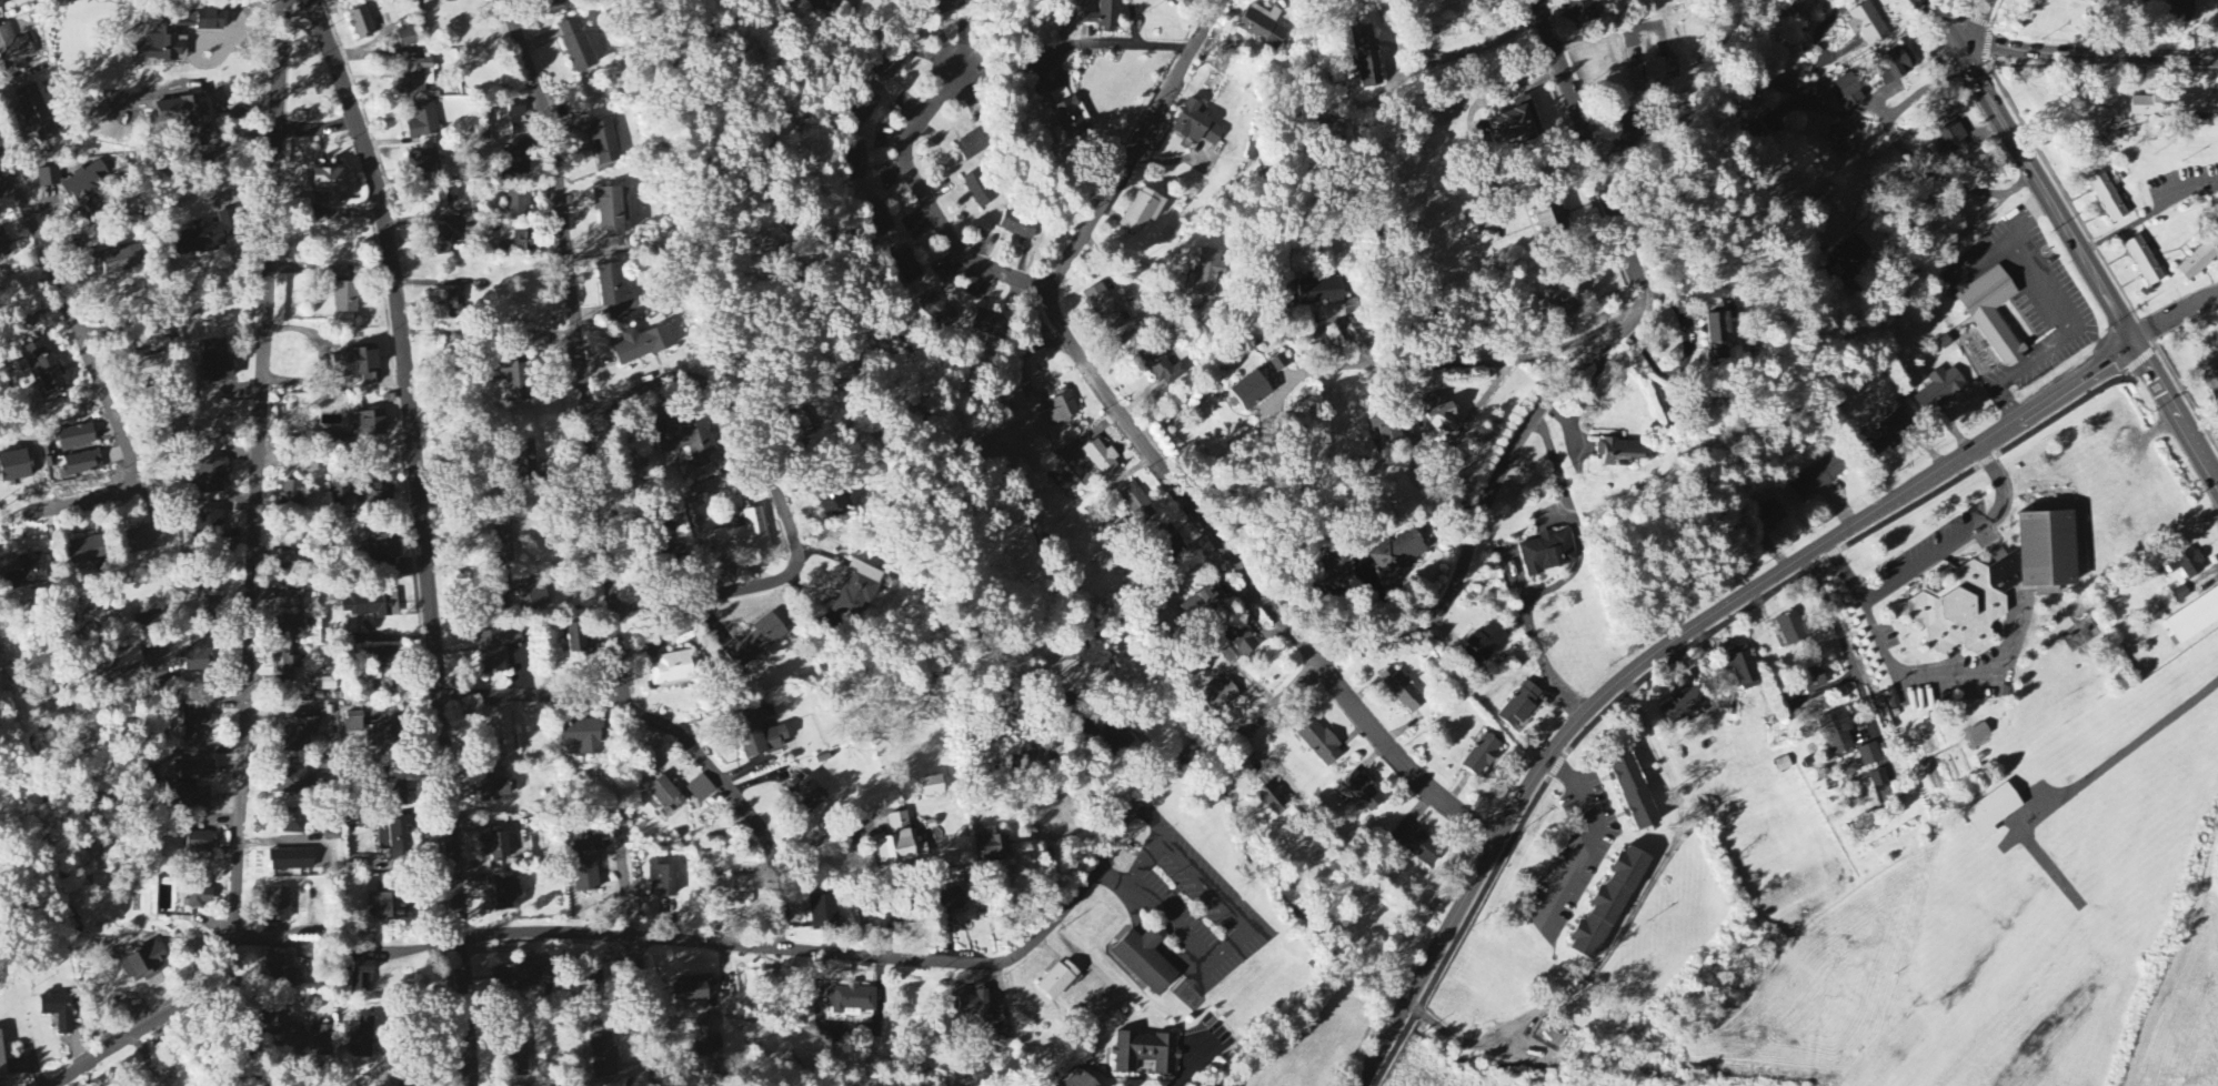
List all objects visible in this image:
building: (1185, 0)
building: (833, 3)
building: (947, 6)
building: (2182, 9)
building: (1578, 12)
building: (1105, 17)
building: (210, 20)
building: (185, 21)
road: (1975, 22)
building: (361, 23)
building: (1262, 27)
building: (1867, 27)
building: (407, 38)
road: (1112, 44)
building: (575, 46)
traffic signals: (1963, 46)
building: (163, 47)
road: (1471, 51)
building: (13, 52)
road: (2089, 53)
building: (1366, 57)
building: (887, 66)
building: (1895, 66)
building: (1655, 70)
building: (415, 76)
building: (1849, 92)
building: (864, 105)
building: (2152, 107)
building: (2199, 107)
road: (1826, 112)
building: (36, 113)
building: (1068, 113)
building: (422, 121)
building: (1516, 123)
building: (2099, 123)
building: (1196, 127)
building: (1624, 133)
road: (1895, 133)
building: (1061, 139)
building: (1949, 141)
building: (604, 142)
building: (975, 145)
road: (1135, 145)
road: (1596, 153)
building: (516, 161)
building: (853, 161)
building: (424, 163)
building: (77, 185)
building: (327, 185)
building: (980, 190)
road: (2184, 190)
building: (2108, 199)
building: (518, 204)
road: (930, 208)
building: (1143, 211)
building: (610, 212)
building: (1550, 220)
building: (879, 222)
road: (1973, 223)
building: (1018, 227)
road: (2118, 232)
building: (208, 235)
building: (440, 241)
road: (2070, 241)
building: (522, 242)
building: (3, 247)
building: (1851, 255)
building: (117, 261)
building: (2199, 261)
building: (2145, 262)
building: (904, 265)
building: (1208, 273)
building: (2, 278)
building: (1321, 292)
building: (614, 293)
building: (345, 299)
building: (1562, 303)
building: (445, 306)
building: (1352, 309)
building: (1104, 310)
building: (937, 312)
building: (1994, 315)
road: (2056, 315)
road: (174, 316)
road: (2176, 320)
building: (1720, 323)
building: (990, 325)
building: (642, 345)
road: (576, 346)
building: (2217, 346)
building: (1717, 358)
building: (218, 362)
road: (1483, 362)
building: (1279, 364)
building: (153, 365)
building: (359, 365)
building: (1162, 365)
building: (44, 373)
building: (2210, 379)
road: (97, 382)
building: (515, 382)
building: (1940, 391)
road: (2182, 391)
building: (1251, 392)
building: (1060, 412)
building: (1438, 420)
building: (796, 421)
building: (368, 425)
building: (1387, 430)
building: (1893, 431)
building: (76, 439)
building: (333, 442)
building: (685, 442)
road: (1444, 446)
building: (1619, 454)
building: (1101, 460)
building: (81, 465)
building: (308, 465)
building: (529, 466)
building: (14, 467)
building: (208, 477)
building: (1817, 479)
building: (340, 491)
road: (782, 491)
building: (291, 492)
building: (374, 494)
building: (835, 503)
building: (1135, 504)
road: (1493, 509)
building: (1766, 519)
road: (1574, 520)
building: (208, 525)
road: (424, 535)
road: (1963, 536)
building: (743, 537)
building: (147, 540)
building: (502, 542)
building: (384, 549)
building: (87, 551)
building: (1397, 553)
building: (1548, 553)
building: (291, 563)
building: (2187, 565)
building: (29, 572)
building: (191, 585)
building: (1998, 585)
road: (254, 587)
road: (1246, 591)
building: (855, 593)
building: (519, 595)
building: (2181, 595)
building: (1203, 604)
building: (370, 606)
building: (299, 609)
building: (2194, 620)
building: (1794, 630)
building: (575, 640)
building: (1486, 641)
road: (1675, 641)
building: (756, 643)
building: (1237, 645)
road: (1846, 646)
road: (1695, 647)
building: (495, 651)
road: (1540, 652)
building: (195, 656)
building: (129, 657)
building: (288, 661)
building: (379, 661)
building: (1742, 668)
building: (675, 670)
building: (1813, 680)
road: (1906, 680)
building: (1402, 691)
road: (529, 696)
building: (1218, 696)
building: (1685, 706)
building: (1519, 707)
building: (193, 721)
building: (353, 722)
building: (761, 733)
building: (1837, 733)
building: (501, 735)
building: (1979, 735)
building: (385, 736)
building: (300, 737)
building: (580, 737)
building: (1114, 742)
building: (1319, 744)
building: (1870, 756)
building: (1482, 757)
building: (194, 771)
building: (1850, 771)
building: (1879, 780)
building: (289, 782)
building: (493, 786)
building: (931, 786)
building: (701, 790)
building: (1634, 792)
building: (809, 793)
building: (1363, 793)
building: (664, 794)
building: (1888, 794)
building: (190, 800)
building: (1272, 800)
road: (739, 801)
building: (1994, 813)
road: (1153, 818)
building: (292, 823)
building: (395, 839)
road: (821, 839)
building: (199, 843)
building: (900, 843)
road: (1589, 843)
building: (1416, 845)
building: (496, 846)
building: (992, 846)
building: (291, 861)
airport taxiway: (2045, 863)
building: (584, 865)
building: (662, 879)
building: (727, 889)
road: (1124, 892)
building: (505, 894)
building: (199, 898)
building: (947, 901)
building: (388, 905)
building: (279, 906)
building: (1607, 908)
building: (824, 913)
building: (881, 914)
road: (1238, 925)
road: (1153, 939)
building: (1146, 958)
road: (1174, 958)
road: (951, 963)
building: (142, 965)
building: (281, 967)
building: (361, 969)
building: (515, 977)
building: (1058, 981)
road: (1203, 985)
airport runway: (1990, 989)
building: (694, 992)
building: (850, 1000)
building: (974, 1005)
building: (58, 1010)
road: (645, 1010)
building: (277, 1023)
building: (361, 1038)
building: (704, 1038)
building: (320, 1039)
building: (1145, 1053)
building: (603, 1056)
building: (1, 1058)
building: (518, 1059)
road: (1198, 1072)
building: (1080, 1079)

